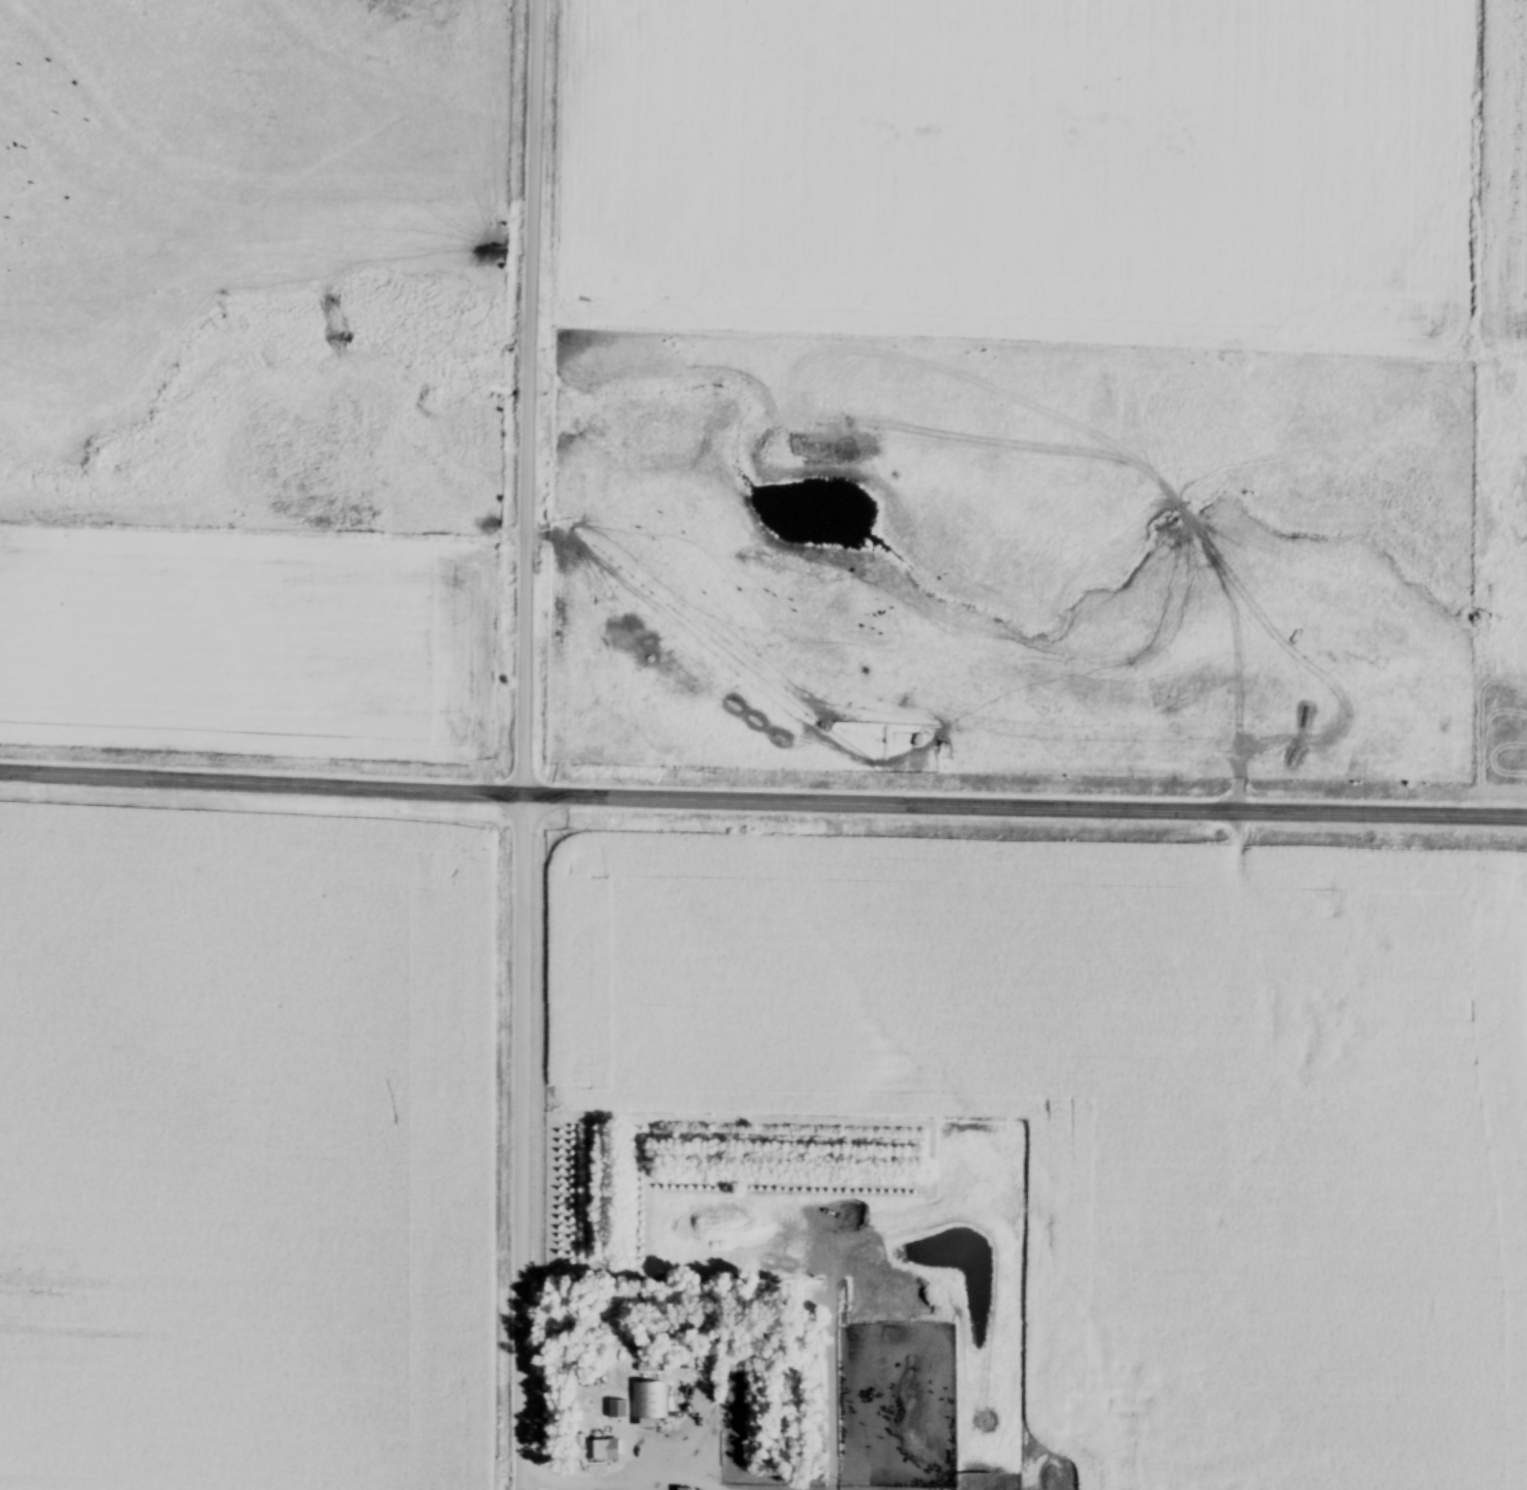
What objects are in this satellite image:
road: (519, 744)
road: (763, 798)
building: (650, 1401)
building: (618, 1410)
building: (595, 1450)
road: (546, 1478)

